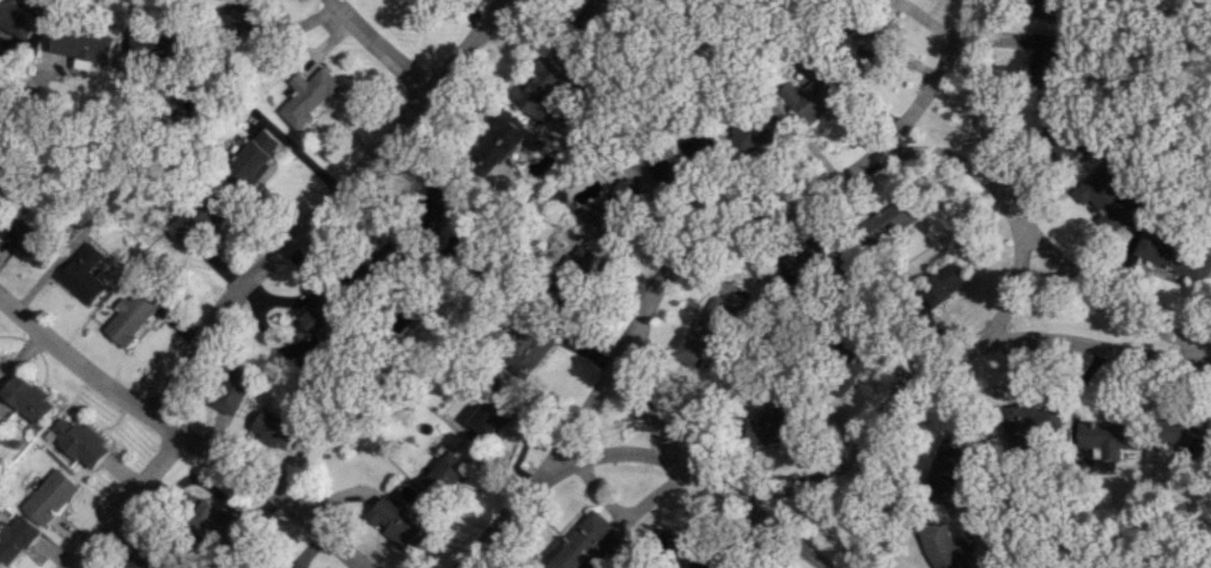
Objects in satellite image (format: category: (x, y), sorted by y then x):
building: (1048, 10)
building: (597, 14)
building: (243, 17)
building: (869, 42)
building: (84, 43)
building: (159, 44)
road: (382, 47)
building: (1045, 60)
building: (544, 90)
building: (309, 97)
building: (761, 133)
building: (1057, 133)
building: (503, 141)
building: (255, 159)
road: (462, 159)
building: (684, 159)
road: (924, 172)
building: (0, 177)
road: (820, 184)
building: (443, 196)
building: (1108, 196)
road: (321, 204)
building: (611, 209)
road: (1020, 219)
building: (196, 220)
building: (29, 242)
building: (1173, 256)
road: (603, 258)
building: (382, 267)
building: (573, 269)
building: (795, 269)
building: (84, 274)
road: (1012, 282)
building: (945, 283)
building: (133, 314)
building: (716, 318)
building: (529, 347)
building: (696, 350)
building: (859, 350)
road: (949, 358)
building: (235, 390)
building: (26, 397)
building: (493, 415)
building: (1030, 423)
building: (775, 427)
building: (276, 428)
building: (1185, 430)
road: (182, 433)
building: (1110, 436)
building: (81, 441)
road: (608, 451)
road: (556, 453)
building: (954, 465)
road: (694, 470)
building: (444, 475)
building: (53, 496)
road: (126, 500)
road: (858, 511)
building: (215, 523)
building: (397, 523)
building: (18, 539)
building: (585, 543)
building: (942, 545)
building: (683, 551)
building: (153, 558)

